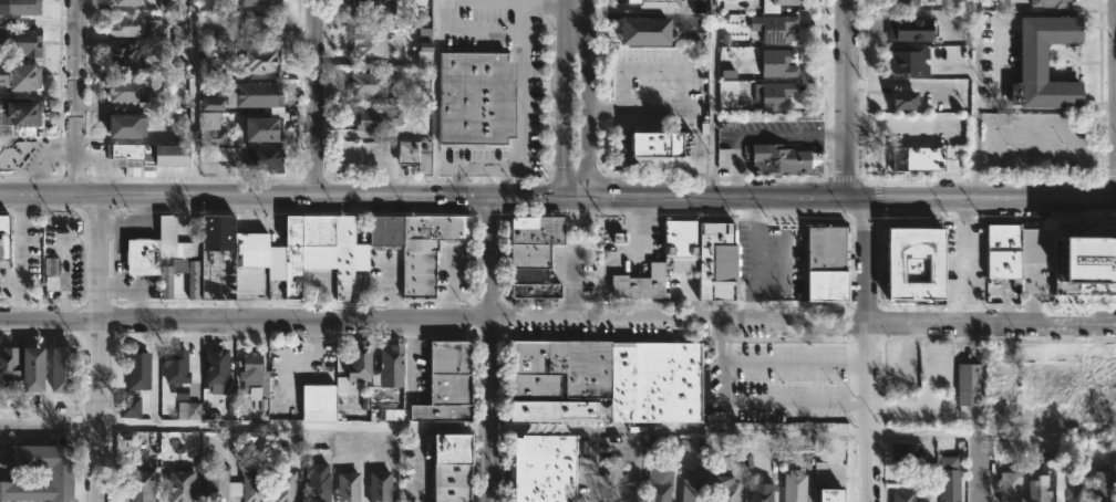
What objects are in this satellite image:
building: (737, 0)
building: (123, 2)
road: (541, 2)
building: (257, 3)
building: (650, 3)
building: (905, 3)
building: (1047, 3)
building: (776, 4)
building: (371, 7)
building: (18, 8)
road: (642, 9)
building: (130, 25)
building: (258, 28)
building: (773, 28)
road: (476, 30)
building: (910, 30)
building: (641, 32)
building: (180, 39)
building: (17, 42)
building: (368, 45)
building: (424, 55)
road: (589, 55)
building: (125, 56)
building: (257, 61)
building: (906, 61)
building: (645, 63)
building: (776, 63)
building: (1043, 65)
building: (19, 77)
building: (365, 84)
road: (517, 88)
road: (194, 90)
road: (712, 90)
road: (435, 91)
road: (978, 91)
building: (125, 92)
building: (649, 94)
building: (252, 95)
road: (684, 95)
building: (777, 95)
road: (318, 97)
road: (74, 98)
building: (476, 98)
road: (566, 98)
road: (845, 98)
building: (903, 100)
building: (211, 104)
building: (17, 118)
building: (387, 121)
building: (123, 127)
building: (260, 129)
road: (761, 135)
building: (213, 138)
building: (654, 145)
building: (153, 153)
road: (589, 155)
building: (413, 156)
building: (263, 159)
building: (923, 159)
building: (777, 160)
road: (445, 168)
road: (554, 169)
road: (606, 196)
road: (244, 197)
road: (473, 198)
traffic signals: (488, 198)
road: (526, 198)
traffic signals: (565, 198)
road: (577, 198)
traffic signals: (589, 198)
road: (716, 198)
road: (856, 198)
road: (991, 199)
road: (433, 213)
building: (536, 231)
building: (619, 239)
building: (681, 248)
building: (1014, 249)
building: (3, 253)
building: (289, 253)
building: (530, 255)
building: (828, 261)
road: (963, 261)
building: (1096, 263)
building: (896, 270)
building: (51, 273)
building: (531, 284)
building: (653, 284)
road: (680, 315)
road: (245, 320)
road: (992, 323)
road: (97, 349)
road: (489, 349)
road: (867, 349)
building: (897, 358)
building: (360, 362)
road: (793, 362)
building: (1004, 363)
building: (174, 366)
building: (391, 366)
building: (136, 368)
building: (30, 369)
building: (8, 370)
building: (60, 370)
building: (560, 370)
building: (215, 373)
building: (968, 376)
building: (254, 380)
parking lot: (773, 380)
building: (654, 383)
building: (445, 384)
building: (1078, 386)
building: (180, 393)
building: (321, 399)
road: (752, 404)
building: (127, 406)
building: (187, 410)
building: (554, 411)
road: (245, 426)
road: (678, 429)
road: (991, 432)
building: (998, 449)
building: (905, 451)
road: (591, 466)
road: (629, 466)
building: (449, 467)
building: (541, 468)
building: (58, 475)
building: (317, 480)
building: (950, 480)
building: (179, 483)
building: (230, 483)
building: (794, 483)
building: (658, 484)
building: (693, 484)
building: (138, 485)
building: (282, 485)
building: (378, 485)
building: (1009, 485)
building: (1100, 485)
building: (347, 487)
building: (1074, 488)
building: (726, 490)
building: (1037, 491)
building: (762, 493)
building: (830, 495)
building: (901, 495)

